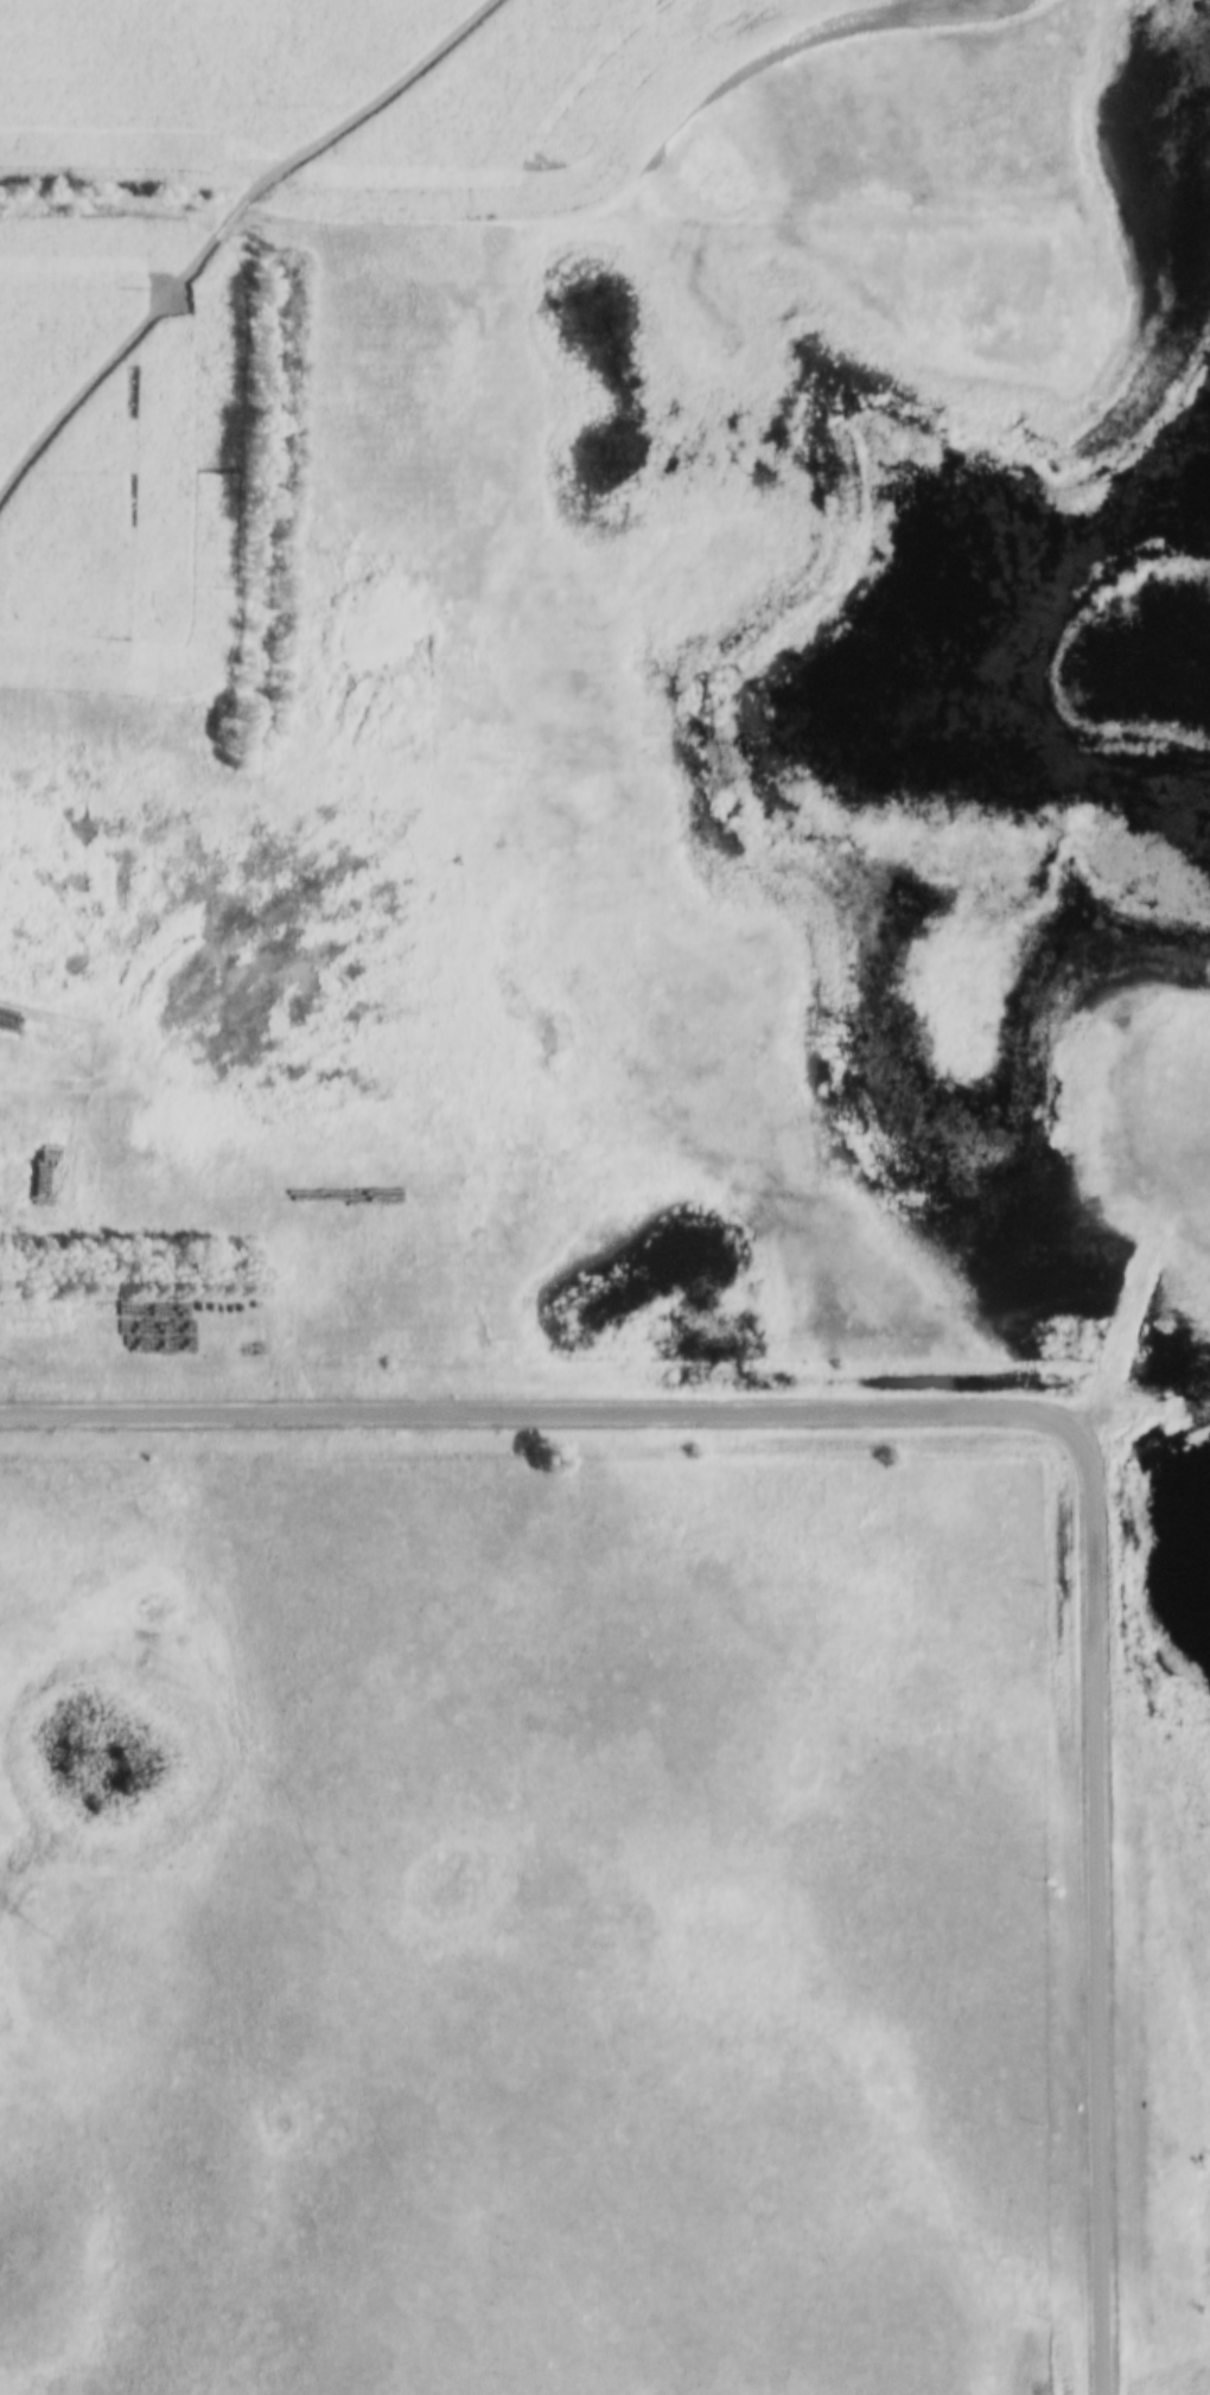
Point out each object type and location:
road: (224, 229)
building: (170, 1325)
road: (536, 1410)
road: (1094, 1907)

